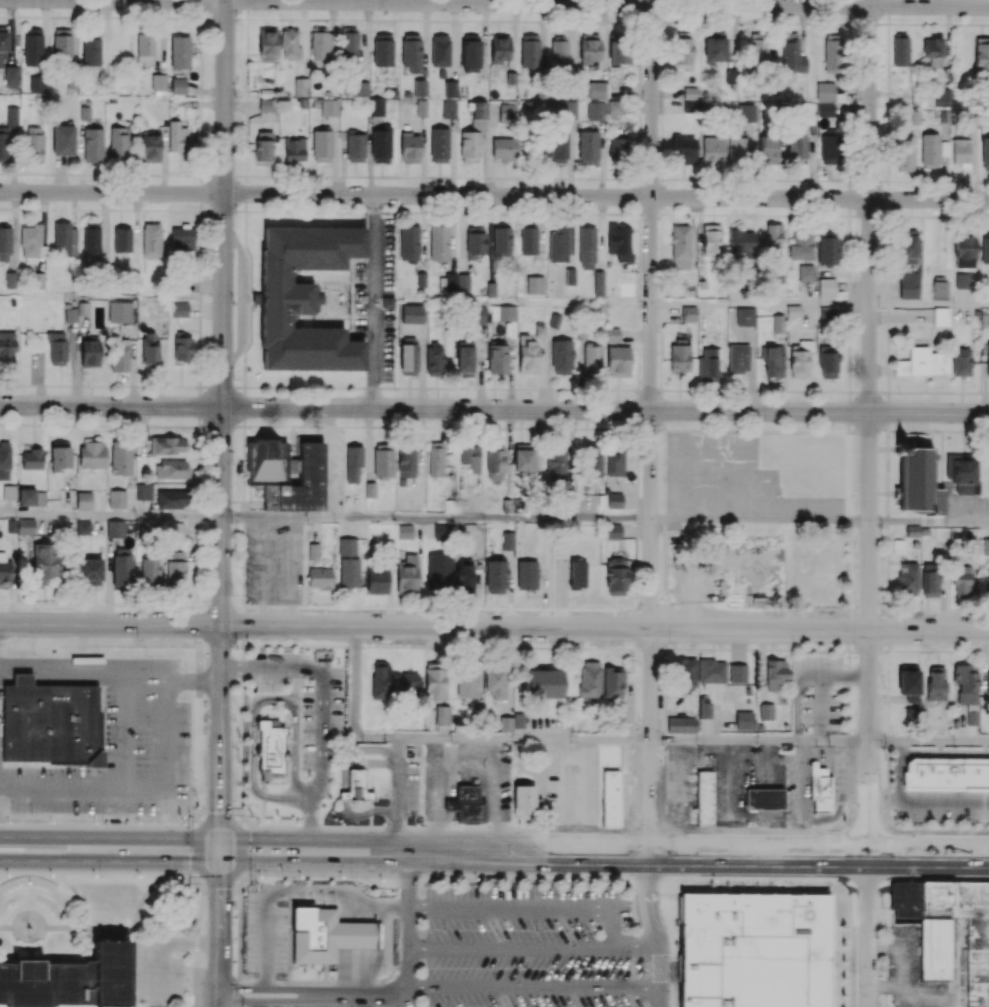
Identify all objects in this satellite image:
road: (148, 0)
road: (607, 4)
road: (112, 193)
road: (606, 196)
road: (375, 225)
building: (805, 272)
building: (569, 276)
building: (420, 279)
building: (463, 282)
building: (598, 283)
building: (533, 285)
building: (825, 287)
building: (489, 289)
road: (242, 299)
building: (387, 302)
road: (760, 304)
road: (929, 304)
building: (82, 308)
building: (179, 309)
building: (792, 311)
building: (118, 312)
building: (504, 313)
building: (689, 313)
building: (410, 314)
building: (744, 316)
building: (777, 323)
road: (373, 331)
building: (611, 334)
building: (737, 358)
building: (36, 359)
building: (616, 361)
road: (111, 406)
road: (605, 410)
road: (222, 425)
road: (651, 426)
road: (870, 427)
building: (32, 459)
building: (352, 462)
building: (368, 490)
building: (7, 491)
building: (116, 498)
building: (83, 500)
building: (613, 500)
building: (447, 505)
road: (111, 515)
road: (436, 518)
road: (760, 520)
road: (929, 521)
building: (83, 527)
building: (403, 531)
building: (611, 531)
building: (505, 539)
building: (346, 546)
building: (312, 551)
parking lot: (274, 561)
building: (88, 570)
building: (525, 575)
building: (319, 578)
road: (110, 625)
road: (604, 629)
street lamp: (669, 644)
street lamp: (921, 647)
building: (23, 680)
road: (186, 680)
road: (354, 703)
road: (323, 718)
building: (52, 725)
road: (153, 729)
road: (522, 738)
road: (759, 740)
road: (929, 742)
building: (269, 748)
building: (521, 752)
building: (255, 753)
road: (939, 754)
road: (898, 755)
building: (285, 756)
building: (947, 773)
road: (899, 784)
building: (357, 787)
building: (939, 788)
building: (820, 794)
building: (343, 797)
building: (610, 799)
building: (704, 799)
road: (884, 799)
road: (943, 799)
building: (523, 800)
building: (762, 800)
building: (470, 804)
building: (453, 806)
street lamp: (234, 815)
street lamp: (62, 821)
street lamp: (185, 821)
street lamp: (277, 824)
street lamp: (410, 824)
street lamp: (517, 825)
street lamp: (740, 826)
street lamp: (626, 827)
street lamp: (843, 827)
street lamp: (964, 828)
road: (52, 839)
road: (161, 850)
traffic signals: (219, 850)
road: (269, 850)
road: (654, 854)
road: (52, 861)
street lamp: (118, 877)
street lamp: (177, 878)
street lamp: (244, 879)
street lamp: (359, 879)
street lamp: (466, 879)
street lamp: (577, 880)
street lamp: (903, 880)
street lamp: (686, 882)
street lamp: (798, 882)
road: (649, 889)
road: (219, 897)
building: (934, 901)
building: (904, 902)
road: (529, 910)
building: (972, 913)
road: (407, 924)
road: (868, 931)
building: (312, 935)
building: (354, 935)
building: (377, 935)
road: (161, 947)
parking lot: (527, 947)
road: (636, 948)
building: (933, 949)
building: (681, 950)
road: (510, 951)
building: (756, 951)
road: (660, 965)
building: (976, 967)
parking lot: (159, 971)
road: (219, 975)
street lamp: (282, 976)
building: (70, 980)
road: (533, 990)
road: (272, 992)
building: (976, 995)
road: (366, 998)
road: (272, 1002)
road: (407, 1002)

